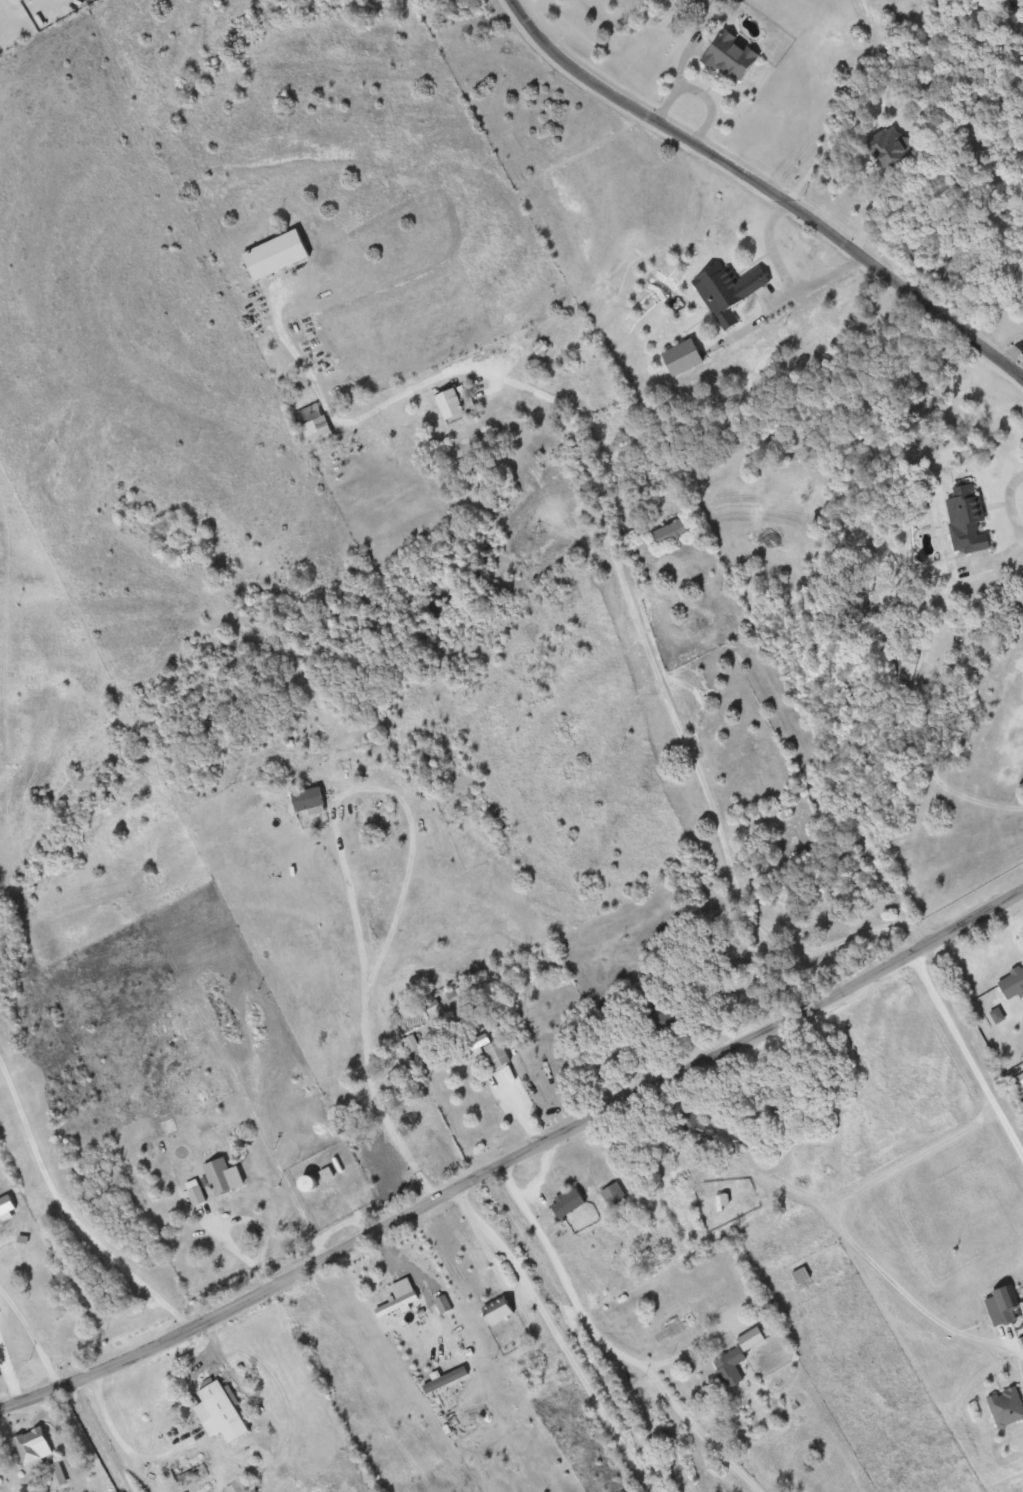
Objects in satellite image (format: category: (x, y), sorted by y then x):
building: (22, 0)
building: (734, 54)
building: (897, 147)
road: (771, 184)
building: (278, 254)
building: (730, 291)
building: (542, 347)
road: (1013, 351)
building: (686, 356)
building: (454, 404)
building: (313, 425)
building: (965, 517)
building: (672, 531)
building: (908, 663)
road: (707, 776)
building: (310, 799)
building: (1011, 982)
building: (433, 1008)
road: (950, 1023)
building: (495, 1051)
building: (694, 1126)
road: (1009, 1132)
road: (515, 1159)
building: (221, 1177)
building: (612, 1192)
building: (197, 1195)
road: (72, 1197)
building: (571, 1202)
building: (6, 1207)
road: (846, 1237)
road: (3, 1240)
building: (800, 1273)
building: (399, 1304)
building: (443, 1304)
building: (502, 1308)
building: (65, 1315)
road: (585, 1332)
road: (564, 1336)
road: (622, 1336)
road: (33, 1340)
building: (732, 1366)
building: (1006, 1405)
building: (224, 1412)
building: (29, 1447)
building: (3, 1469)

